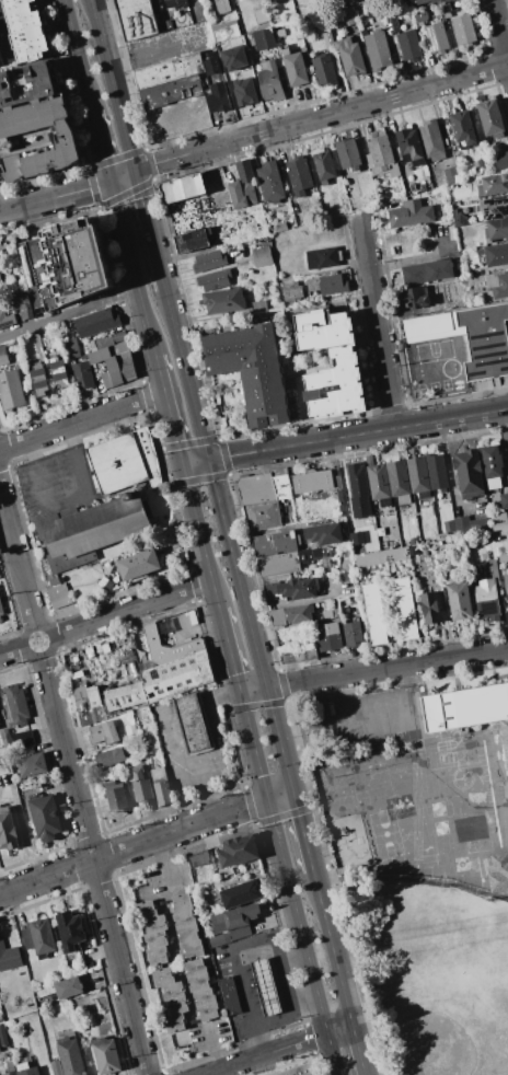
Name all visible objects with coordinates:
building: (165, 0)
building: (239, 0)
building: (268, 0)
building: (417, 1)
building: (435, 1)
building: (222, 5)
building: (446, 9)
building: (259, 15)
building: (346, 16)
building: (417, 16)
building: (136, 19)
building: (463, 28)
building: (26, 31)
building: (224, 31)
road: (498, 32)
building: (436, 36)
building: (327, 37)
building: (264, 39)
road: (4, 44)
building: (408, 44)
building: (377, 50)
road: (78, 56)
building: (350, 56)
building: (296, 69)
building: (324, 71)
building: (168, 72)
building: (269, 81)
building: (25, 84)
road: (112, 84)
building: (171, 93)
building: (490, 116)
road: (320, 117)
building: (461, 126)
building: (36, 139)
building: (430, 140)
road: (102, 147)
building: (409, 147)
building: (380, 150)
building: (347, 154)
building: (500, 161)
building: (324, 165)
traffic signals: (134, 171)
building: (450, 175)
building: (299, 176)
traffic signals: (111, 181)
building: (270, 182)
building: (495, 184)
building: (243, 185)
building: (182, 188)
road: (67, 194)
building: (494, 208)
building: (409, 213)
road: (148, 229)
building: (496, 229)
building: (192, 243)
building: (492, 255)
building: (262, 256)
building: (322, 257)
road: (407, 259)
building: (209, 263)
building: (63, 265)
road: (131, 268)
building: (427, 271)
building: (0, 277)
building: (215, 280)
building: (327, 284)
building: (498, 286)
building: (291, 292)
building: (428, 294)
building: (226, 301)
building: (258, 305)
building: (22, 307)
road: (68, 314)
building: (7, 320)
building: (96, 324)
road: (378, 324)
building: (430, 324)
building: (118, 337)
building: (485, 340)
building: (72, 347)
building: (3, 356)
building: (114, 359)
building: (331, 363)
building: (252, 370)
building: (58, 372)
road: (185, 373)
building: (81, 374)
road: (160, 374)
building: (39, 380)
building: (11, 390)
road: (301, 411)
road: (81, 419)
road: (407, 426)
road: (173, 428)
road: (504, 436)
road: (256, 450)
traffic signals: (207, 460)
building: (493, 461)
road: (194, 462)
building: (125, 463)
traffic signals: (182, 464)
building: (437, 471)
building: (469, 473)
building: (417, 474)
road: (449, 475)
building: (357, 476)
building: (397, 478)
building: (312, 481)
building: (337, 482)
building: (378, 482)
building: (264, 488)
building: (337, 500)
building: (504, 500)
road: (68, 502)
building: (262, 516)
building: (499, 520)
road: (196, 521)
building: (471, 525)
building: (449, 529)
building: (89, 531)
building: (323, 534)
building: (274, 543)
building: (313, 555)
building: (380, 556)
building: (138, 564)
building: (278, 564)
road: (235, 574)
building: (54, 581)
building: (88, 582)
building: (506, 582)
building: (292, 587)
road: (216, 593)
building: (58, 596)
building: (486, 598)
building: (460, 601)
building: (430, 606)
building: (1, 609)
building: (405, 609)
building: (299, 613)
building: (373, 613)
road: (105, 616)
building: (278, 616)
building: (0, 620)
building: (353, 634)
building: (330, 636)
building: (196, 641)
road: (230, 649)
building: (298, 655)
road: (386, 668)
road: (405, 675)
building: (176, 677)
traffic signals: (265, 687)
road: (252, 689)
traffic signals: (240, 691)
building: (125, 695)
building: (94, 696)
road: (203, 698)
road: (208, 700)
road: (187, 703)
building: (16, 705)
building: (83, 706)
road: (166, 708)
building: (467, 708)
road: (206, 709)
road: (189, 714)
road: (208, 718)
road: (169, 719)
parking lot: (360, 721)
road: (380, 721)
building: (192, 723)
road: (192, 723)
road: (171, 728)
road: (195, 731)
building: (102, 732)
road: (174, 737)
building: (25, 738)
road: (278, 739)
road: (253, 744)
building: (109, 756)
building: (32, 765)
building: (335, 766)
road: (182, 767)
road: (74, 782)
building: (339, 783)
building: (141, 785)
building: (161, 786)
park: (374, 787)
traffic signals: (292, 791)
road: (279, 795)
building: (115, 796)
traffic signals: (267, 799)
building: (344, 801)
road: (241, 807)
park: (438, 808)
building: (45, 817)
park: (441, 827)
building: (8, 829)
road: (21, 829)
road: (302, 830)
park: (385, 834)
building: (240, 851)
road: (108, 857)
building: (199, 859)
park: (461, 864)
road: (162, 866)
building: (497, 869)
road: (413, 877)
building: (241, 893)
building: (236, 915)
building: (186, 926)
building: (70, 930)
building: (238, 932)
building: (154, 933)
road: (302, 936)
building: (38, 937)
building: (216, 940)
road: (332, 947)
building: (9, 957)
road: (233, 959)
park: (431, 971)
park: (435, 973)
building: (266, 986)
building: (68, 987)
building: (200, 990)
road: (286, 995)
building: (231, 996)
building: (172, 998)
road: (272, 1014)
building: (2, 1036)
road: (281, 1049)
road: (357, 1050)
road: (211, 1051)
building: (105, 1055)
building: (70, 1056)
building: (55, 1067)
building: (30, 1071)
building: (297, 1071)
building: (11, 1072)

